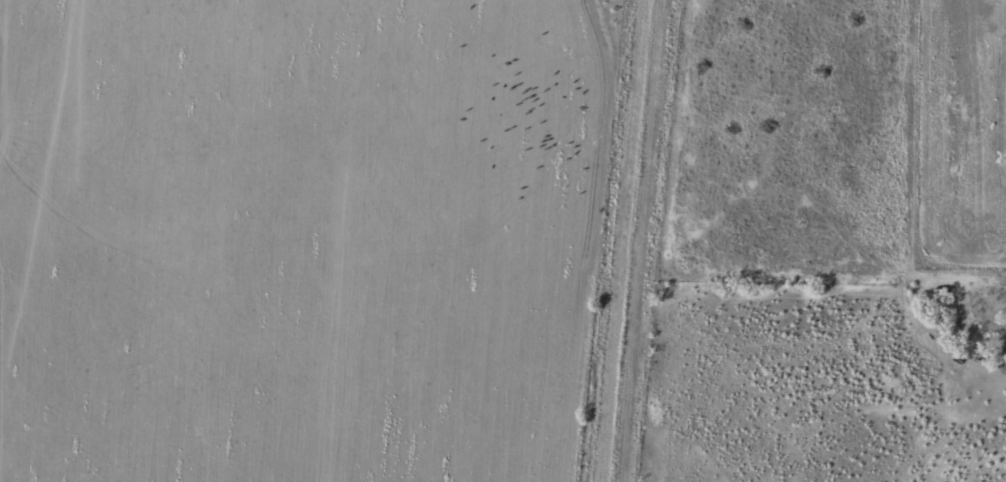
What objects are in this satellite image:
railway: (623, 241)
building: (1004, 330)

